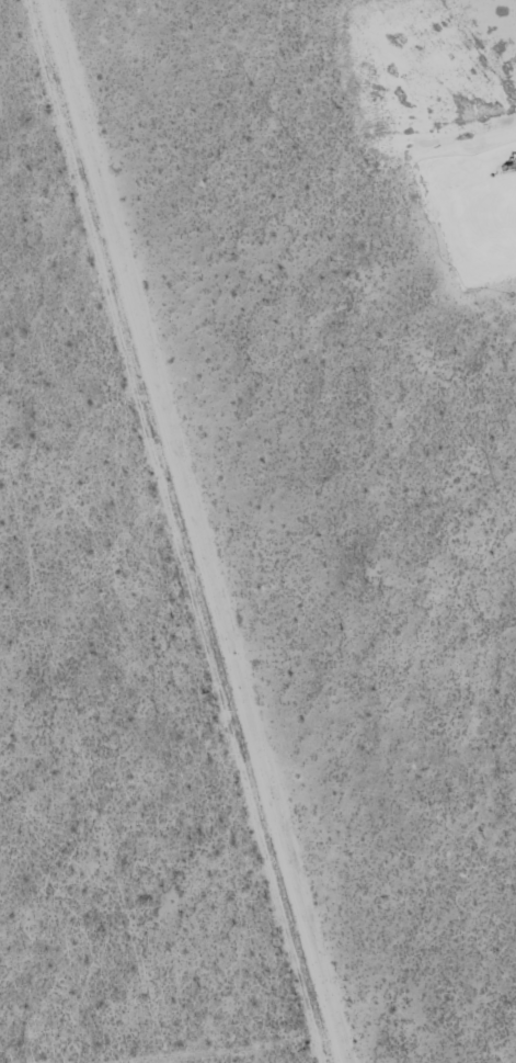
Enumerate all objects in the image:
road: (496, 292)

